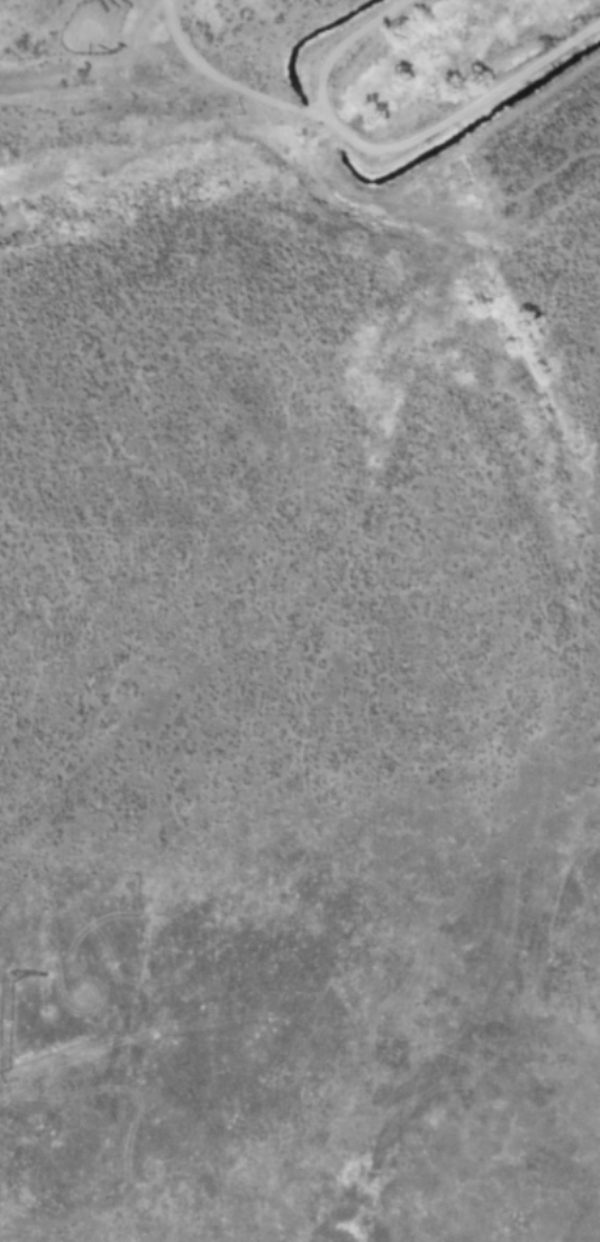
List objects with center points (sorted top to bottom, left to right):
road: (462, 115)

